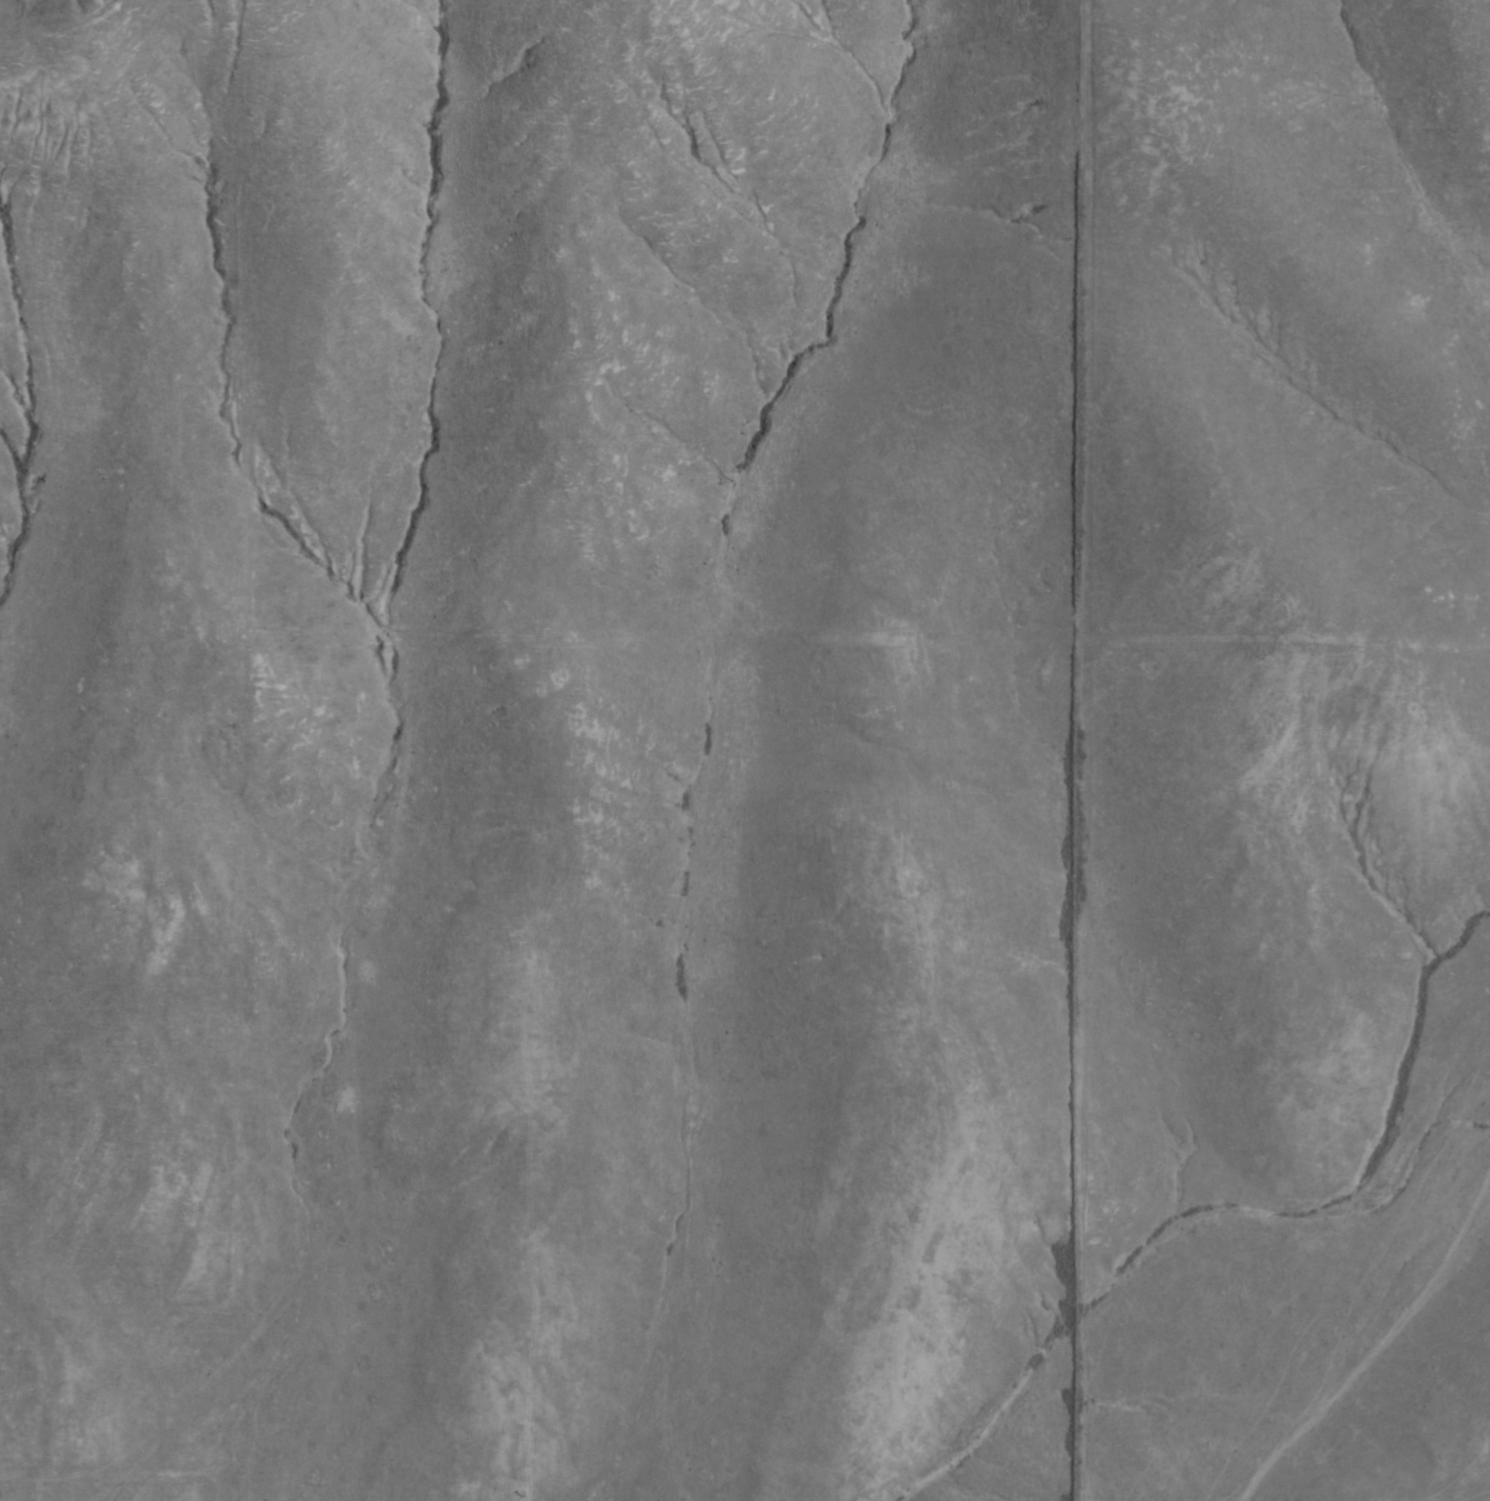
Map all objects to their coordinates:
road: (501, 750)

